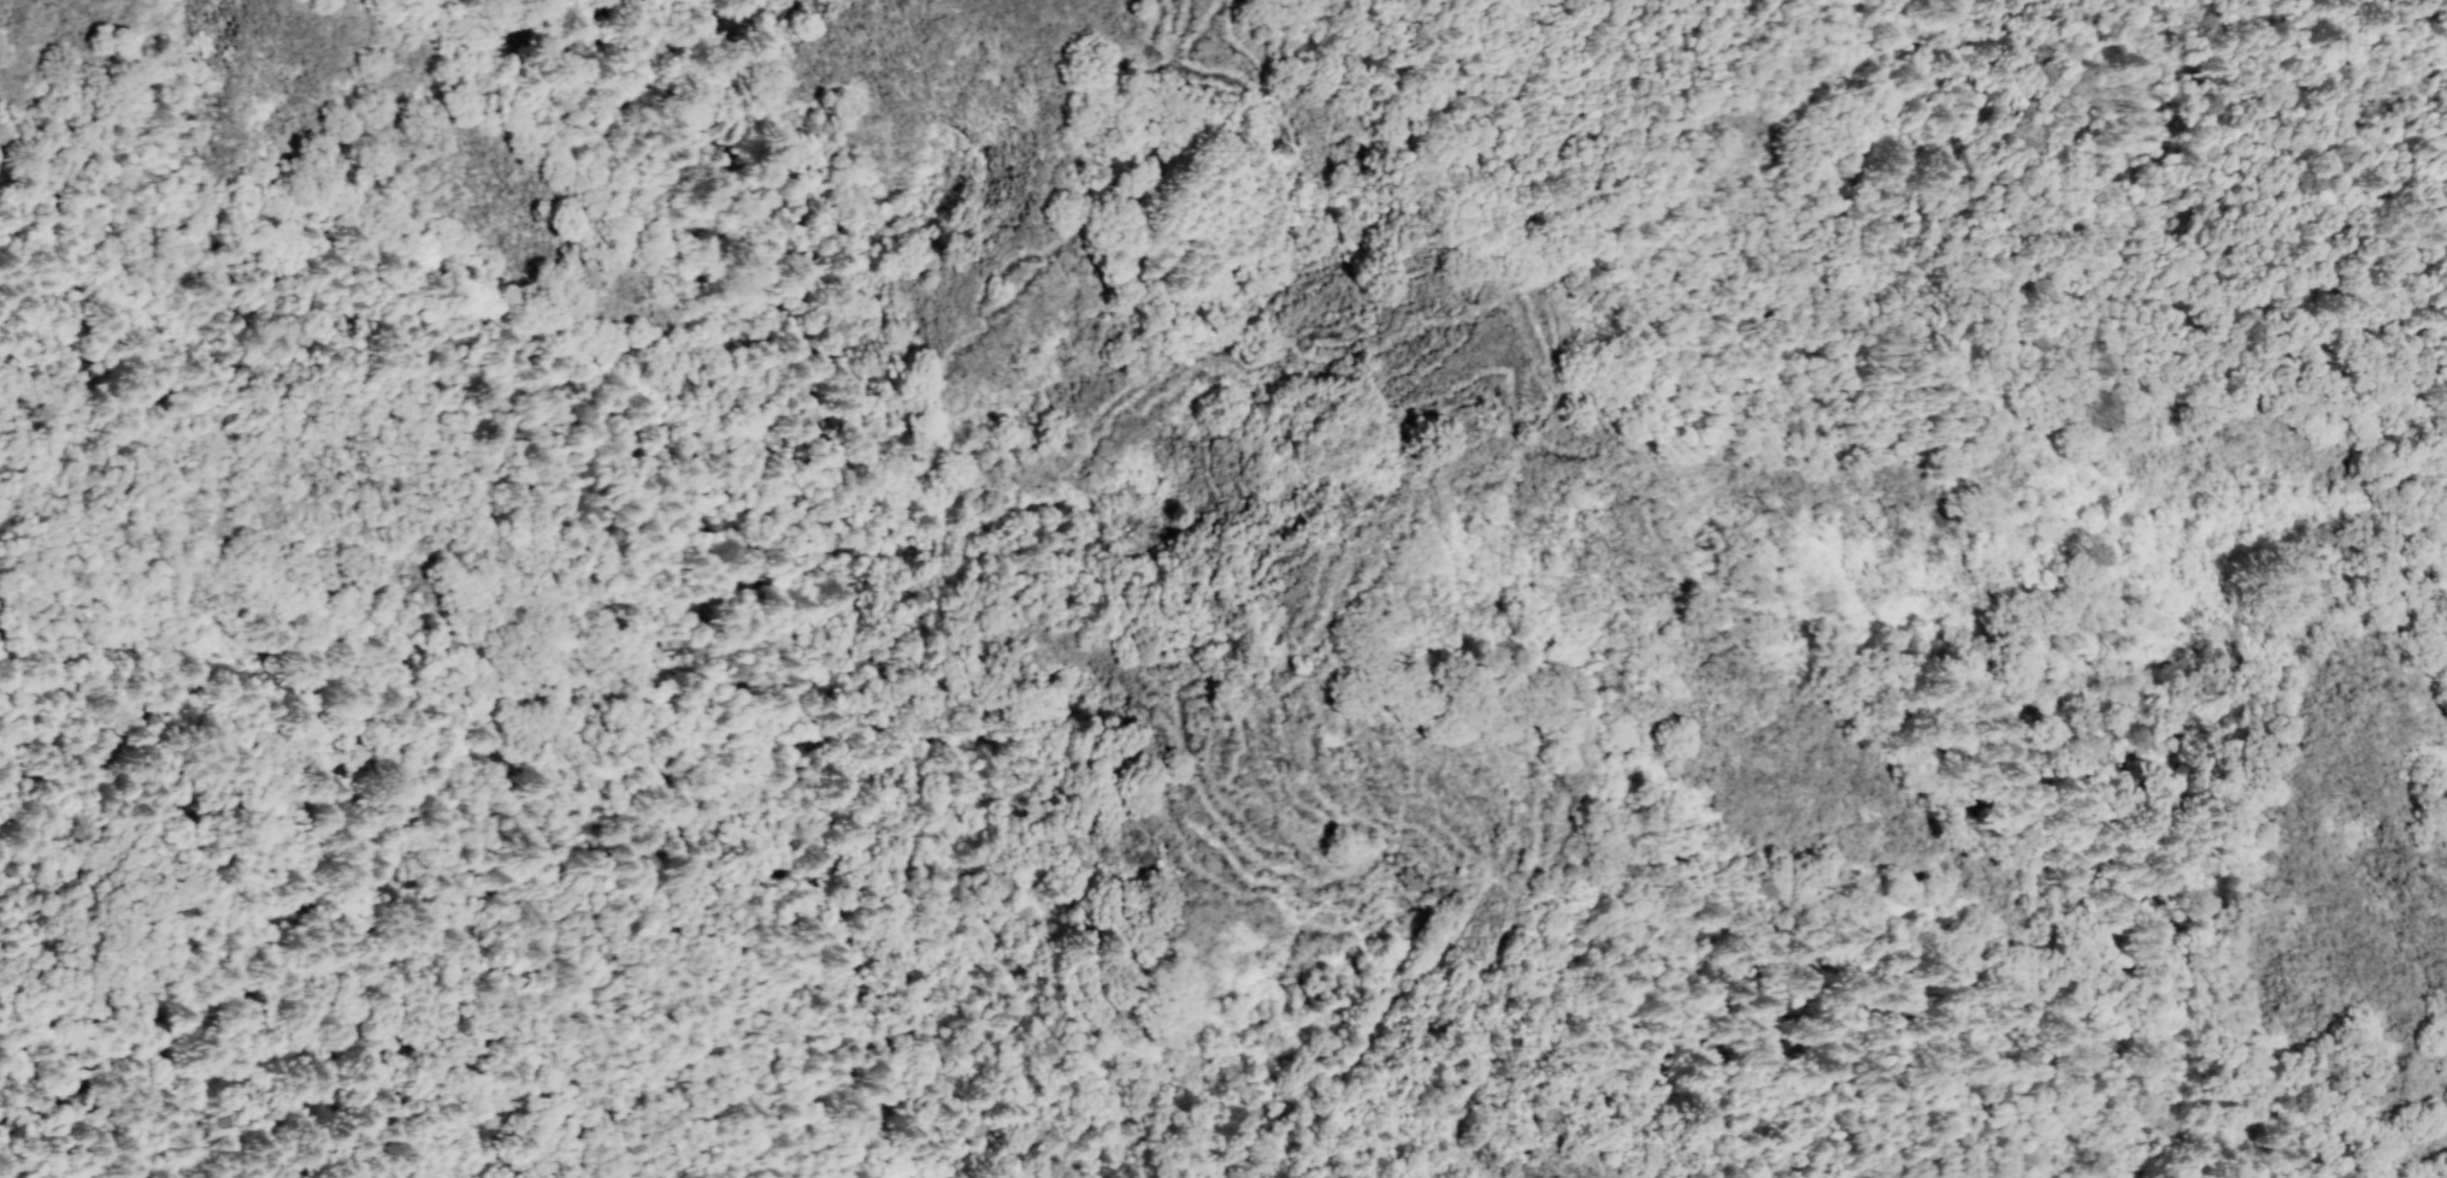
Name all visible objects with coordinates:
road: (1472, 900)

